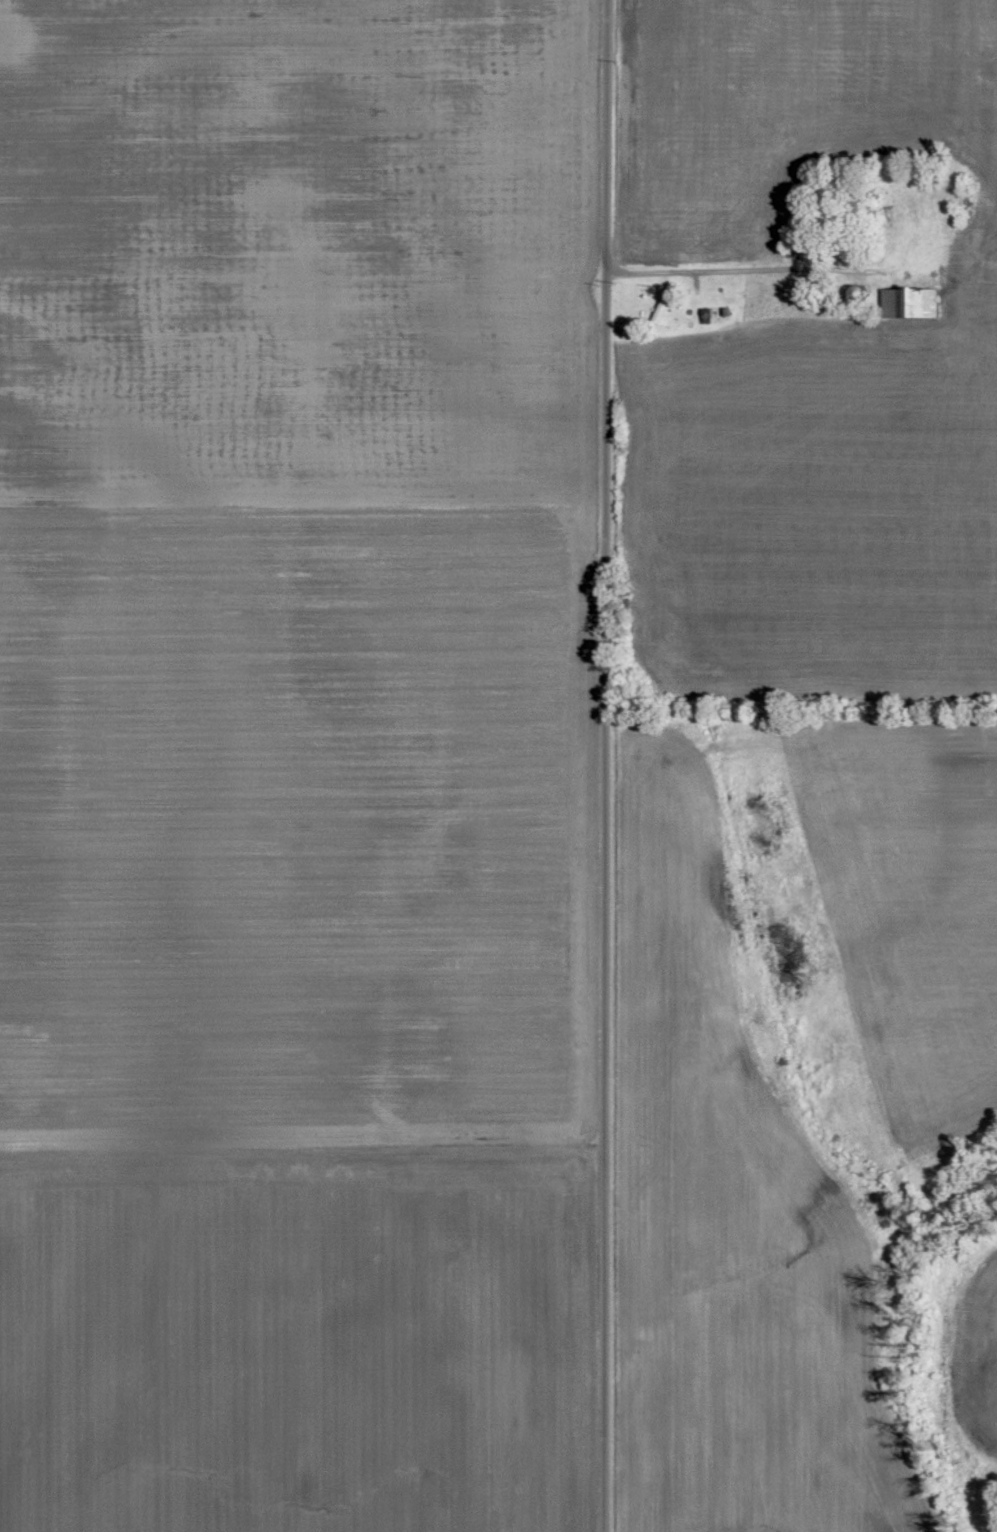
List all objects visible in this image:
building: (908, 305)
building: (659, 315)
road: (608, 765)

